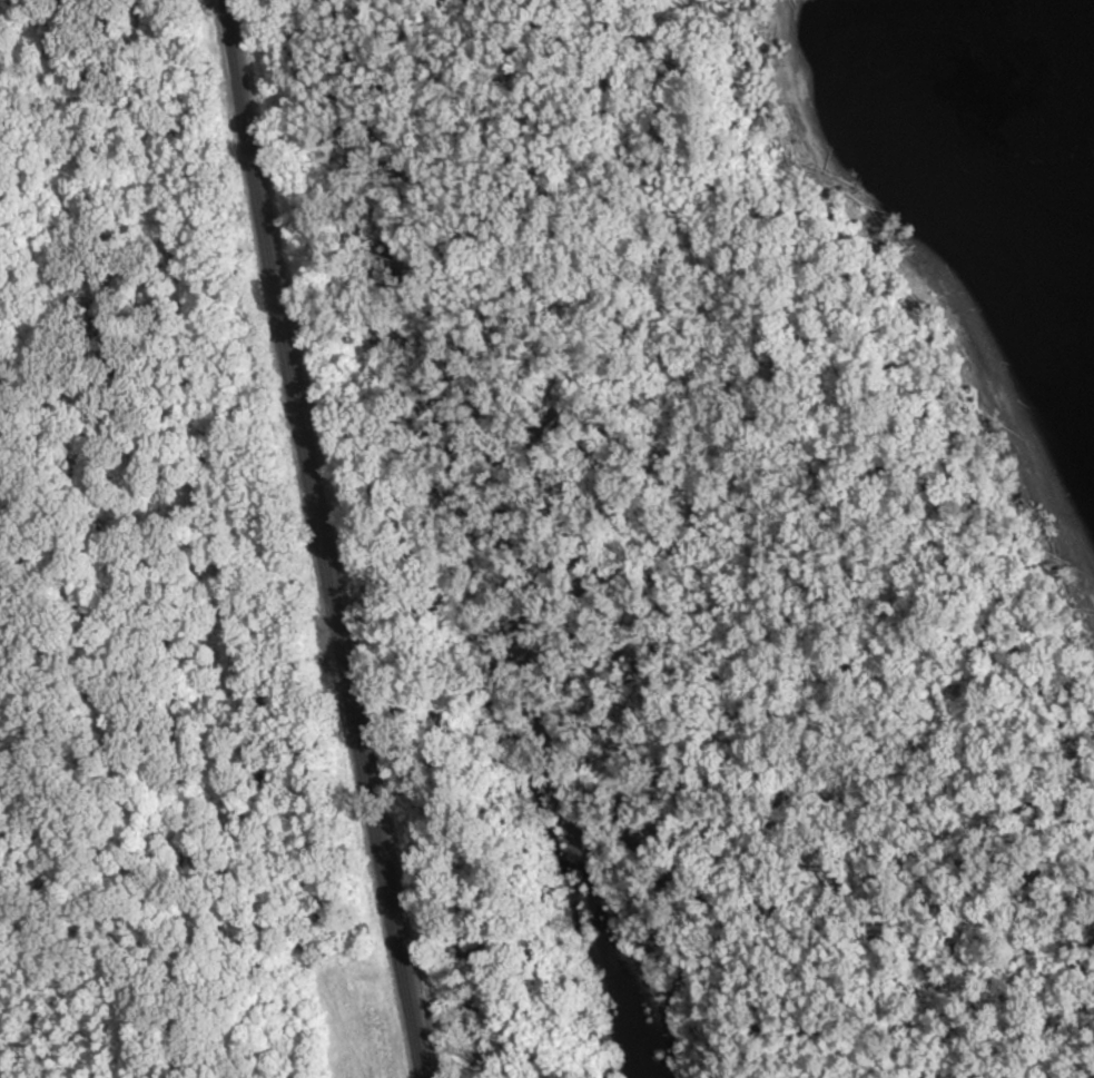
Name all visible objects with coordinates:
railway: (328, 538)

